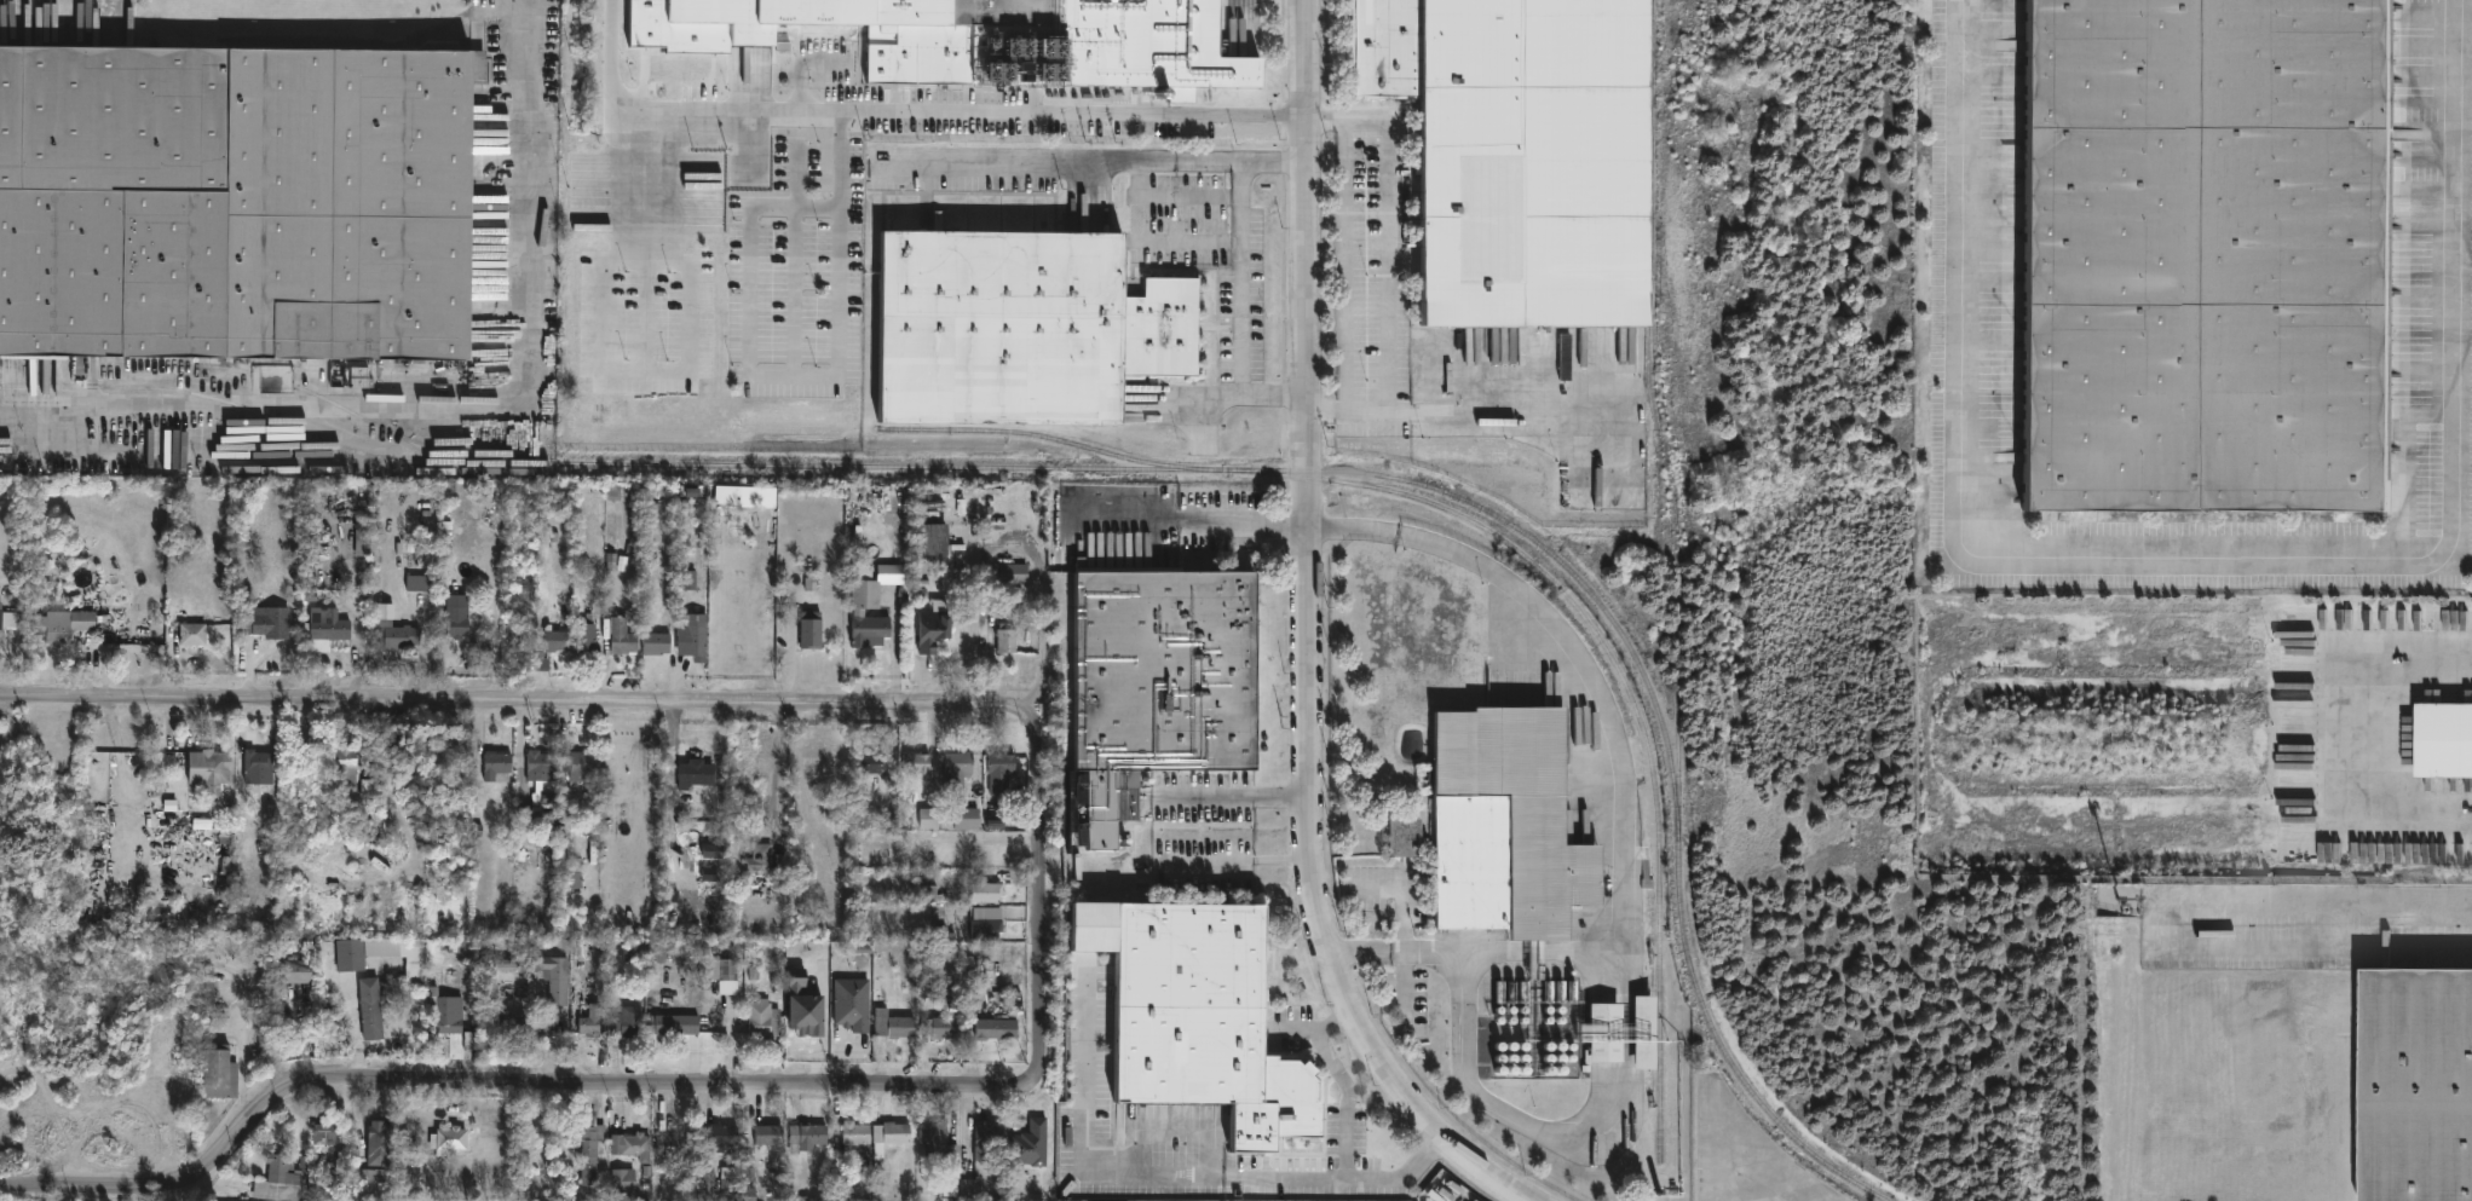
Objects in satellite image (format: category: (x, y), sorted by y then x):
building: (1010, 39)
building: (690, 60)
road: (911, 109)
building: (1519, 151)
road: (1274, 158)
road: (1024, 162)
building: (237, 202)
building: (2197, 254)
road: (1391, 270)
road: (1244, 276)
building: (1028, 324)
road: (802, 375)
building: (359, 376)
railway: (323, 398)
road: (1206, 398)
road: (1503, 402)
road: (463, 410)
railway: (1039, 433)
railway: (1166, 467)
building: (728, 493)
railway: (1673, 493)
road: (1129, 518)
road: (1241, 519)
road: (1352, 525)
building: (935, 538)
road: (1450, 553)
building: (611, 560)
road: (2201, 562)
building: (1016, 572)
building: (688, 579)
building: (419, 582)
building: (860, 612)
building: (1, 614)
building: (272, 622)
building: (62, 624)
building: (934, 625)
building: (332, 627)
building: (456, 627)
building: (812, 629)
building: (519, 630)
building: (194, 633)
building: (397, 636)
building: (623, 636)
building: (588, 637)
building: (698, 639)
building: (1008, 639)
road: (1044, 639)
building: (559, 640)
building: (658, 642)
road: (1307, 642)
building: (1174, 671)
road: (2330, 671)
railway: (1631, 693)
road: (499, 700)
building: (2444, 741)
building: (345, 760)
building: (257, 763)
building: (497, 763)
building: (877, 763)
building: (920, 764)
building: (541, 766)
building: (581, 766)
building: (211, 770)
building: (1004, 772)
building: (697, 774)
building: (958, 774)
building: (542, 795)
road: (1239, 795)
building: (928, 818)
building: (968, 818)
road: (2410, 826)
building: (1511, 828)
building: (762, 858)
road: (1239, 858)
road: (1044, 878)
building: (987, 890)
road: (1399, 895)
road: (2316, 903)
building: (987, 928)
building: (459, 945)
road: (1359, 946)
road: (1405, 946)
road: (1546, 948)
building: (663, 949)
building: (352, 952)
building: (399, 952)
building: (506, 963)
building: (296, 969)
building: (726, 972)
building: (557, 976)
building: (927, 986)
building: (208, 987)
road: (1624, 995)
building: (852, 1003)
building: (373, 1005)
building: (803, 1005)
building: (448, 1010)
building: (1198, 1015)
building: (765, 1017)
building: (593, 1018)
building: (628, 1018)
building: (893, 1021)
building: (662, 1023)
building: (523, 1024)
building: (941, 1024)
building: (999, 1026)
building: (334, 1028)
building: (1610, 1034)
building: (1647, 1034)
building: (220, 1069)
road: (1339, 1076)
road: (499, 1081)
building: (2418, 1087)
building: (324, 1128)
building: (889, 1131)
building: (770, 1132)
building: (725, 1133)
building: (807, 1134)
building: (852, 1134)
building: (450, 1138)
building: (991, 1139)
building: (380, 1142)
building: (634, 1143)
building: (1031, 1143)
building: (679, 1147)
building: (590, 1150)
building: (945, 1150)
road: (1168, 1168)
building: (373, 1174)
building: (728, 1177)
building: (280, 1179)
building: (624, 1179)
building: (972, 1185)

